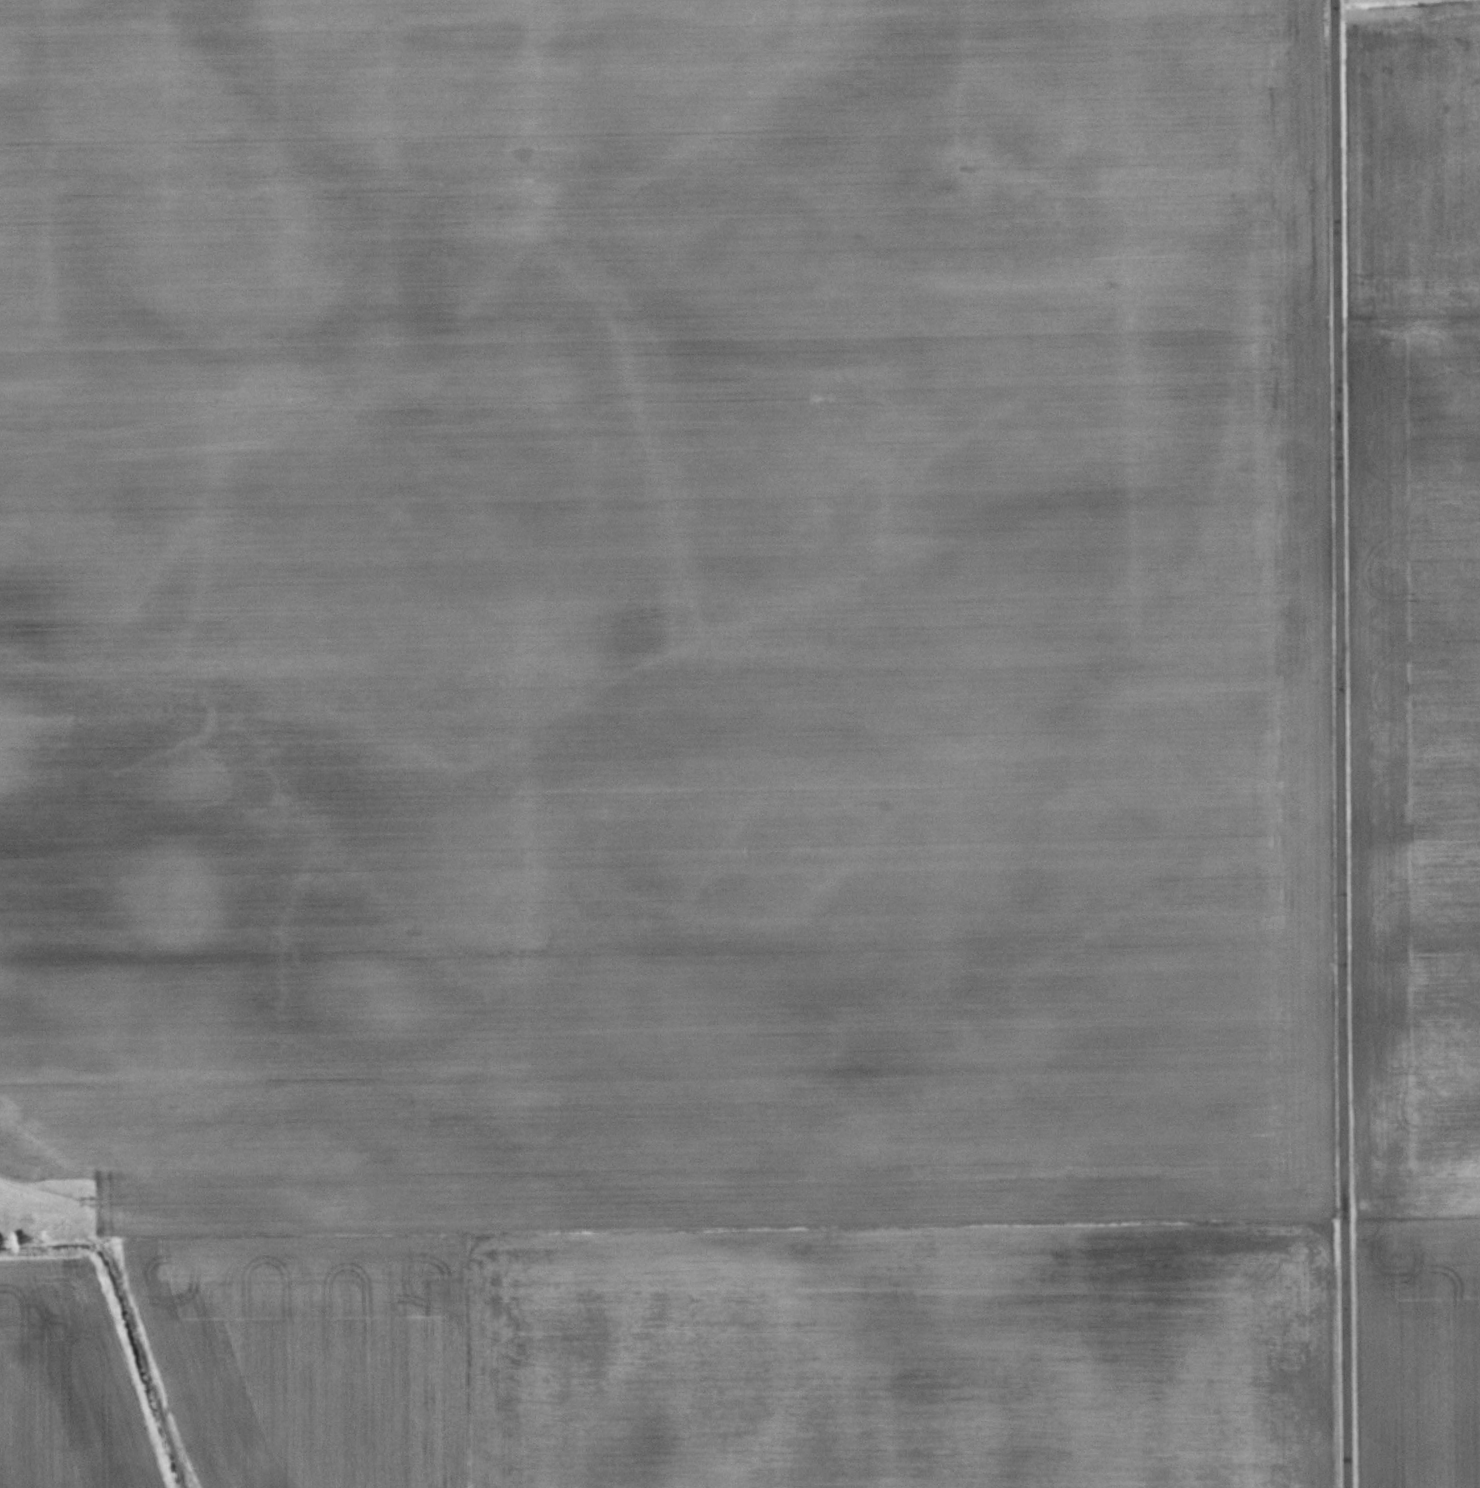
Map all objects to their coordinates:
road: (1343, 744)

